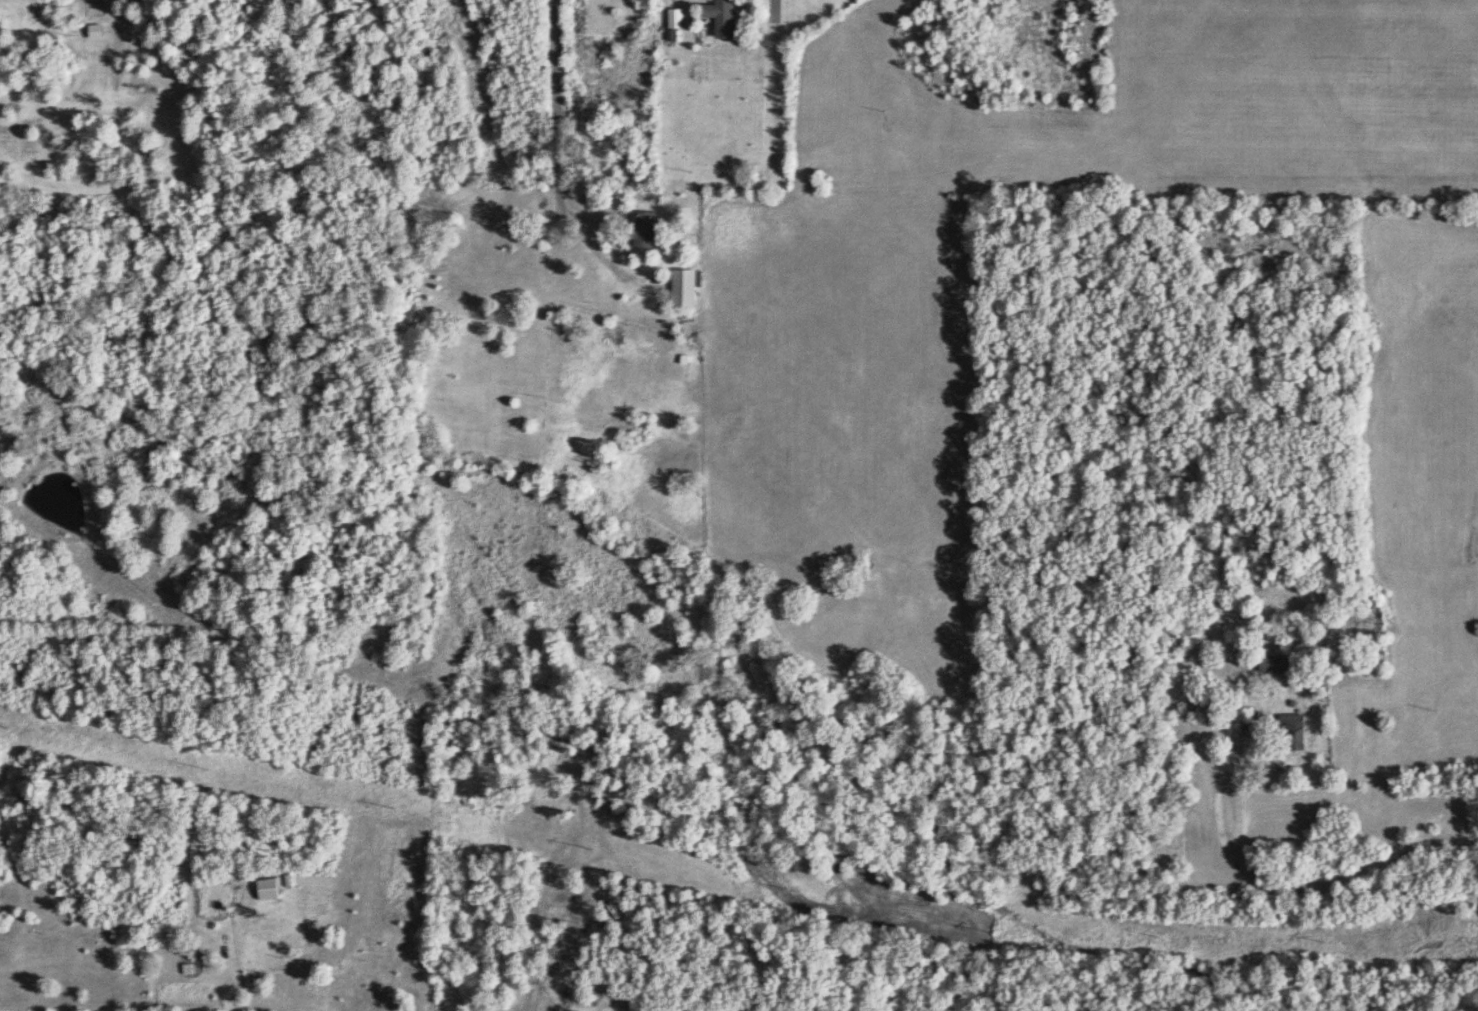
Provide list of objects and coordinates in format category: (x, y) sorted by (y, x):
road: (314, 12)
road: (524, 66)
road: (561, 98)
building: (1276, 661)
building: (1295, 729)

